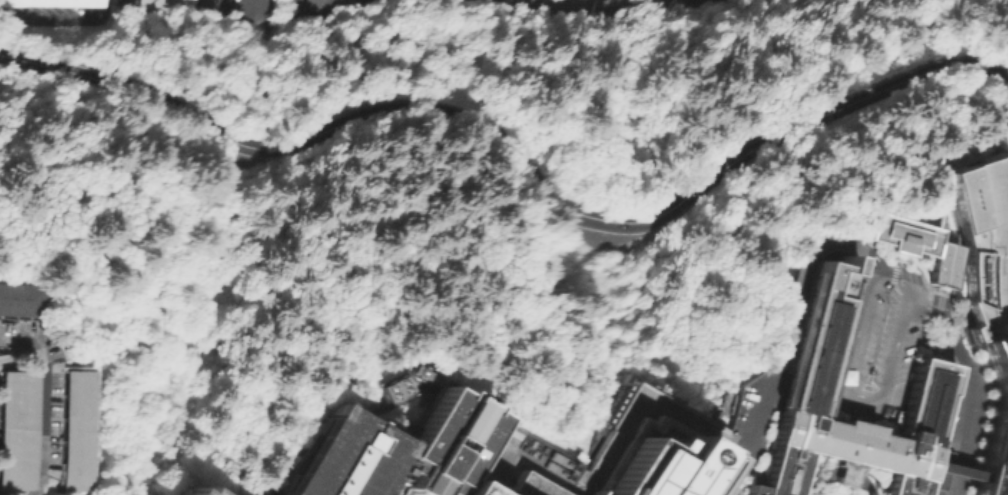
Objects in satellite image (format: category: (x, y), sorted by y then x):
building: (53, 2)
building: (322, 4)
building: (347, 4)
building: (153, 7)
road: (581, 11)
road: (245, 13)
road: (61, 29)
road: (517, 150)
building: (918, 239)
building: (23, 295)
building: (988, 301)
building: (876, 344)
parking lot: (876, 344)
road: (171, 358)
road: (850, 365)
building: (806, 377)
road: (970, 385)
building: (397, 388)
building: (18, 428)
road: (43, 428)
building: (82, 431)
road: (738, 443)
building: (445, 444)
building: (347, 456)
building: (660, 467)
road: (948, 468)
road: (842, 476)
road: (719, 479)
road: (819, 480)
road: (739, 482)
road: (862, 484)
building: (530, 486)
building: (471, 489)
building: (203, 491)
building: (262, 493)

